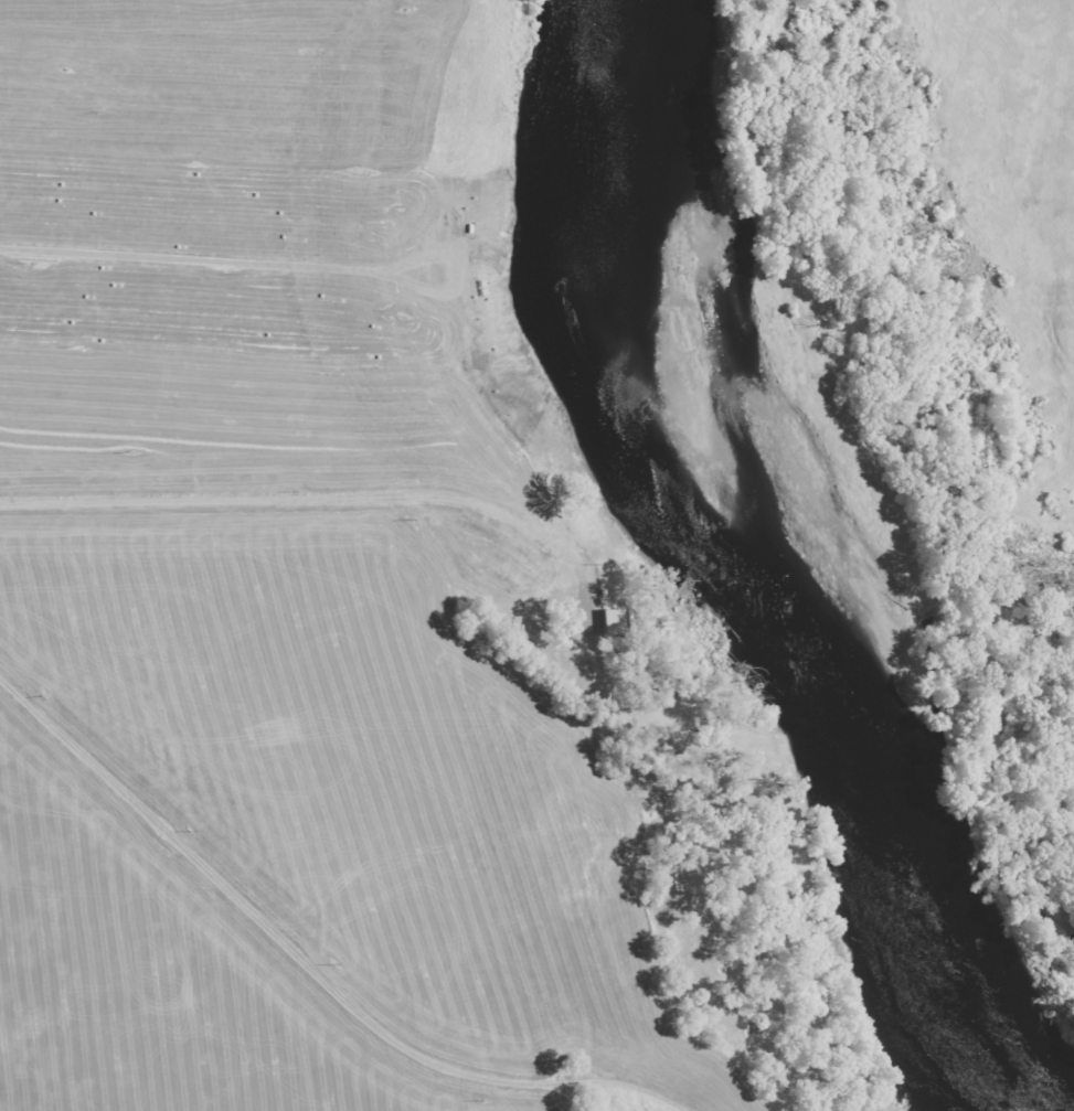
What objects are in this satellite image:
road: (32, 23)
river: (820, 556)

